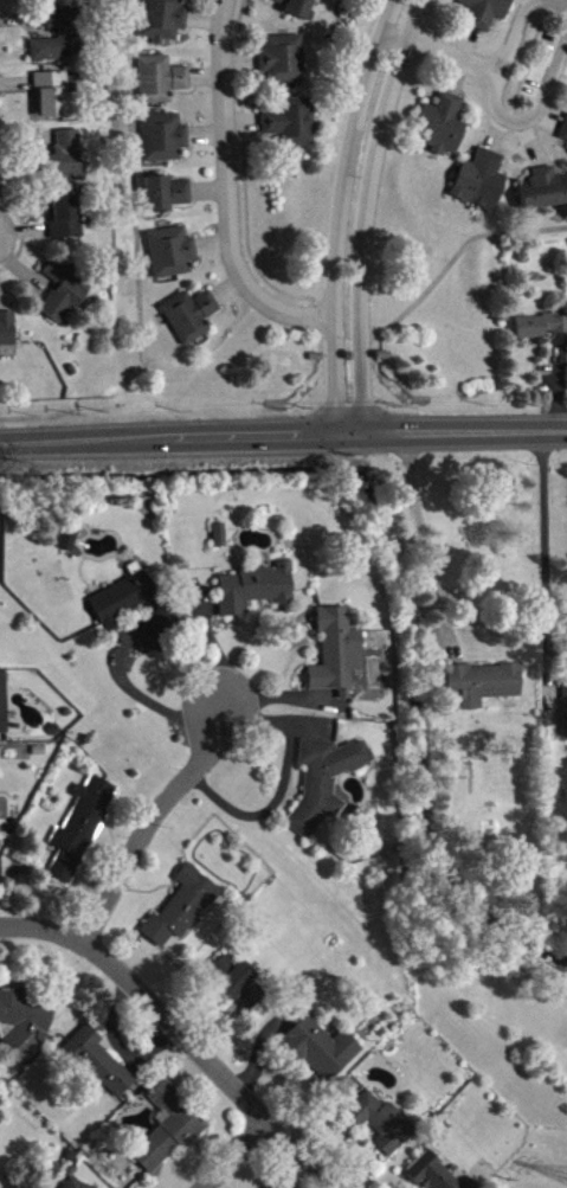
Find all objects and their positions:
building: (62, 1)
building: (279, 2)
road: (558, 4)
building: (301, 9)
building: (488, 14)
building: (165, 21)
building: (60, 40)
road: (440, 54)
building: (284, 63)
building: (162, 83)
building: (52, 98)
road: (503, 113)
building: (292, 126)
building: (444, 129)
building: (565, 136)
building: (165, 141)
building: (66, 161)
building: (482, 185)
road: (226, 192)
building: (545, 193)
building: (167, 198)
road: (362, 211)
road: (336, 212)
building: (66, 220)
building: (172, 256)
building: (65, 294)
building: (191, 320)
building: (541, 329)
road: (269, 332)
building: (7, 333)
traffic signals: (329, 434)
road: (283, 435)
road: (423, 538)
road: (541, 538)
building: (220, 539)
building: (69, 544)
building: (256, 592)
building: (131, 606)
road: (214, 653)
building: (337, 656)
building: (483, 688)
building: (4, 706)
road: (152, 706)
building: (565, 712)
building: (324, 785)
road: (152, 822)
building: (82, 831)
building: (183, 911)
building: (243, 991)
building: (21, 1025)
road: (176, 1035)
building: (321, 1052)
building: (98, 1065)
building: (382, 1125)
building: (170, 1134)
road: (239, 1156)
building: (432, 1175)
building: (75, 1186)
building: (471, 1186)

